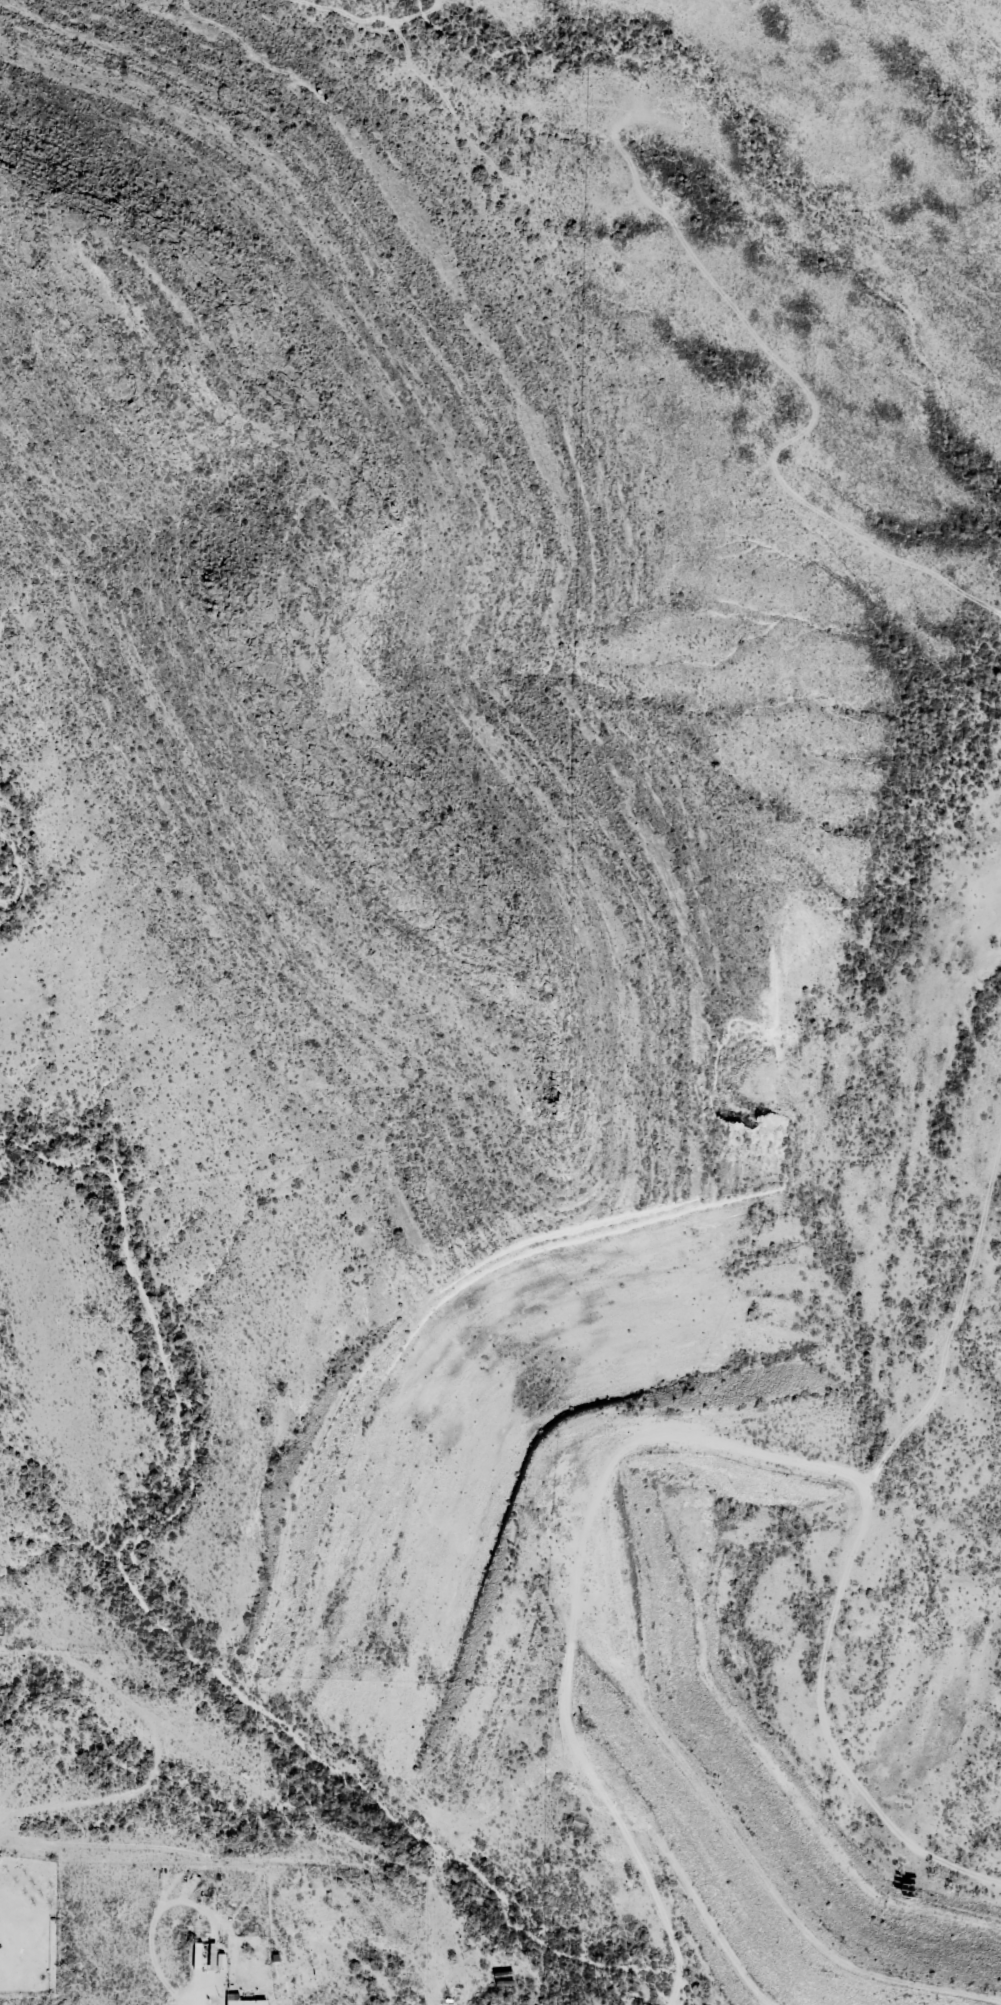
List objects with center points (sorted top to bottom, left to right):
road: (633, 1902)
building: (244, 2001)

